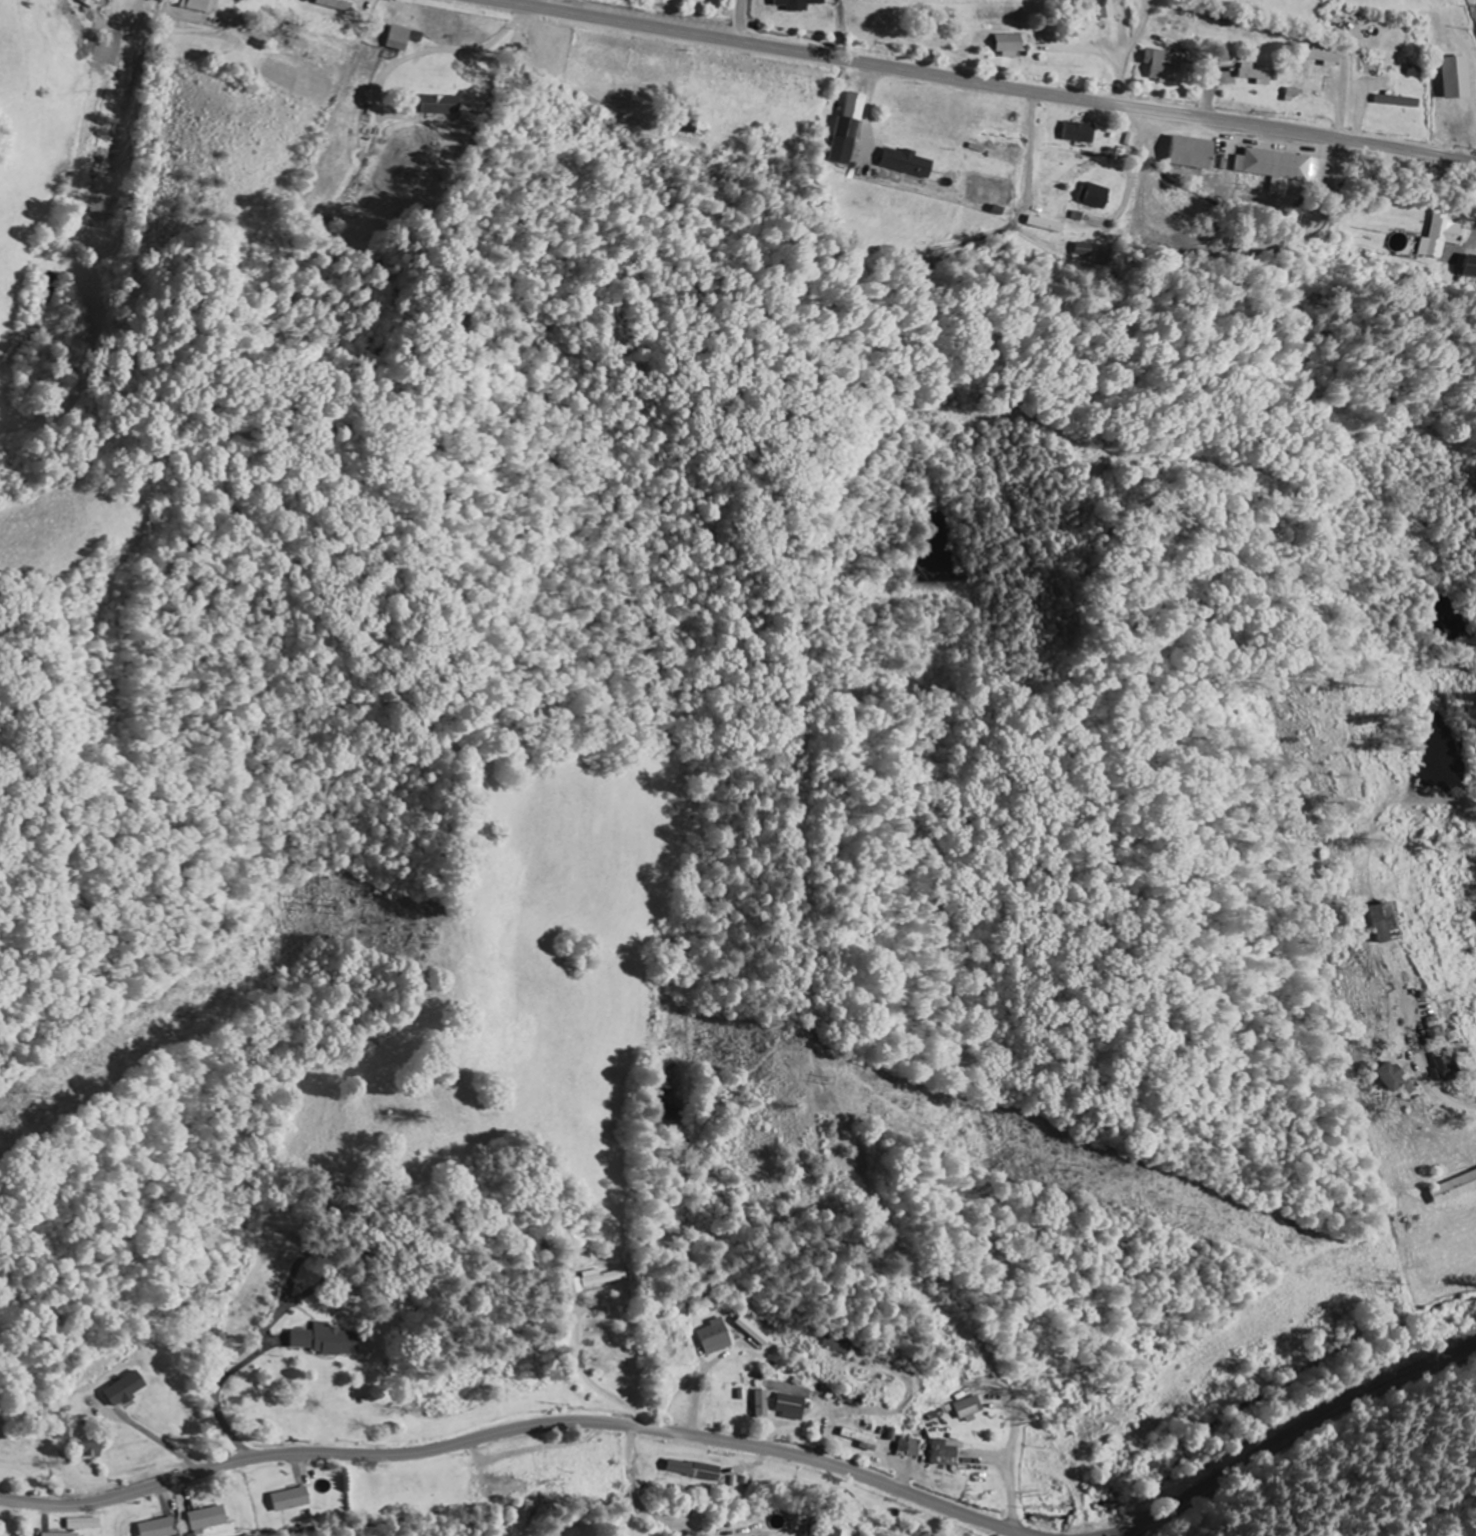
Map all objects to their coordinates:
building: (95, 3)
building: (801, 5)
building: (203, 6)
building: (1109, 10)
road: (742, 20)
building: (402, 40)
building: (1012, 46)
road: (1126, 50)
building: (1324, 58)
building: (1165, 66)
building: (1256, 76)
building: (1460, 79)
road: (985, 83)
building: (1400, 103)
building: (444, 106)
building: (849, 129)
building: (1082, 133)
building: (1196, 154)
building: (908, 163)
building: (1283, 168)
building: (1097, 198)
building: (1044, 225)
building: (1442, 237)
building: (1472, 265)
building: (1387, 925)
building: (1444, 1065)
building: (1394, 1079)
building: (597, 1280)
road: (946, 1318)
building: (754, 1332)
building: (717, 1338)
building: (325, 1341)
building: (836, 1346)
building: (127, 1390)
building: (765, 1405)
building: (794, 1407)
building: (972, 1408)
road: (521, 1428)
road: (1291, 1434)
building: (865, 1440)
building: (912, 1448)
building: (90, 1449)
building: (947, 1454)
building: (696, 1471)
building: (291, 1500)
building: (208, 1520)
road: (1162, 1524)
building: (159, 1528)
building: (822, 1531)
building: (60, 1535)

